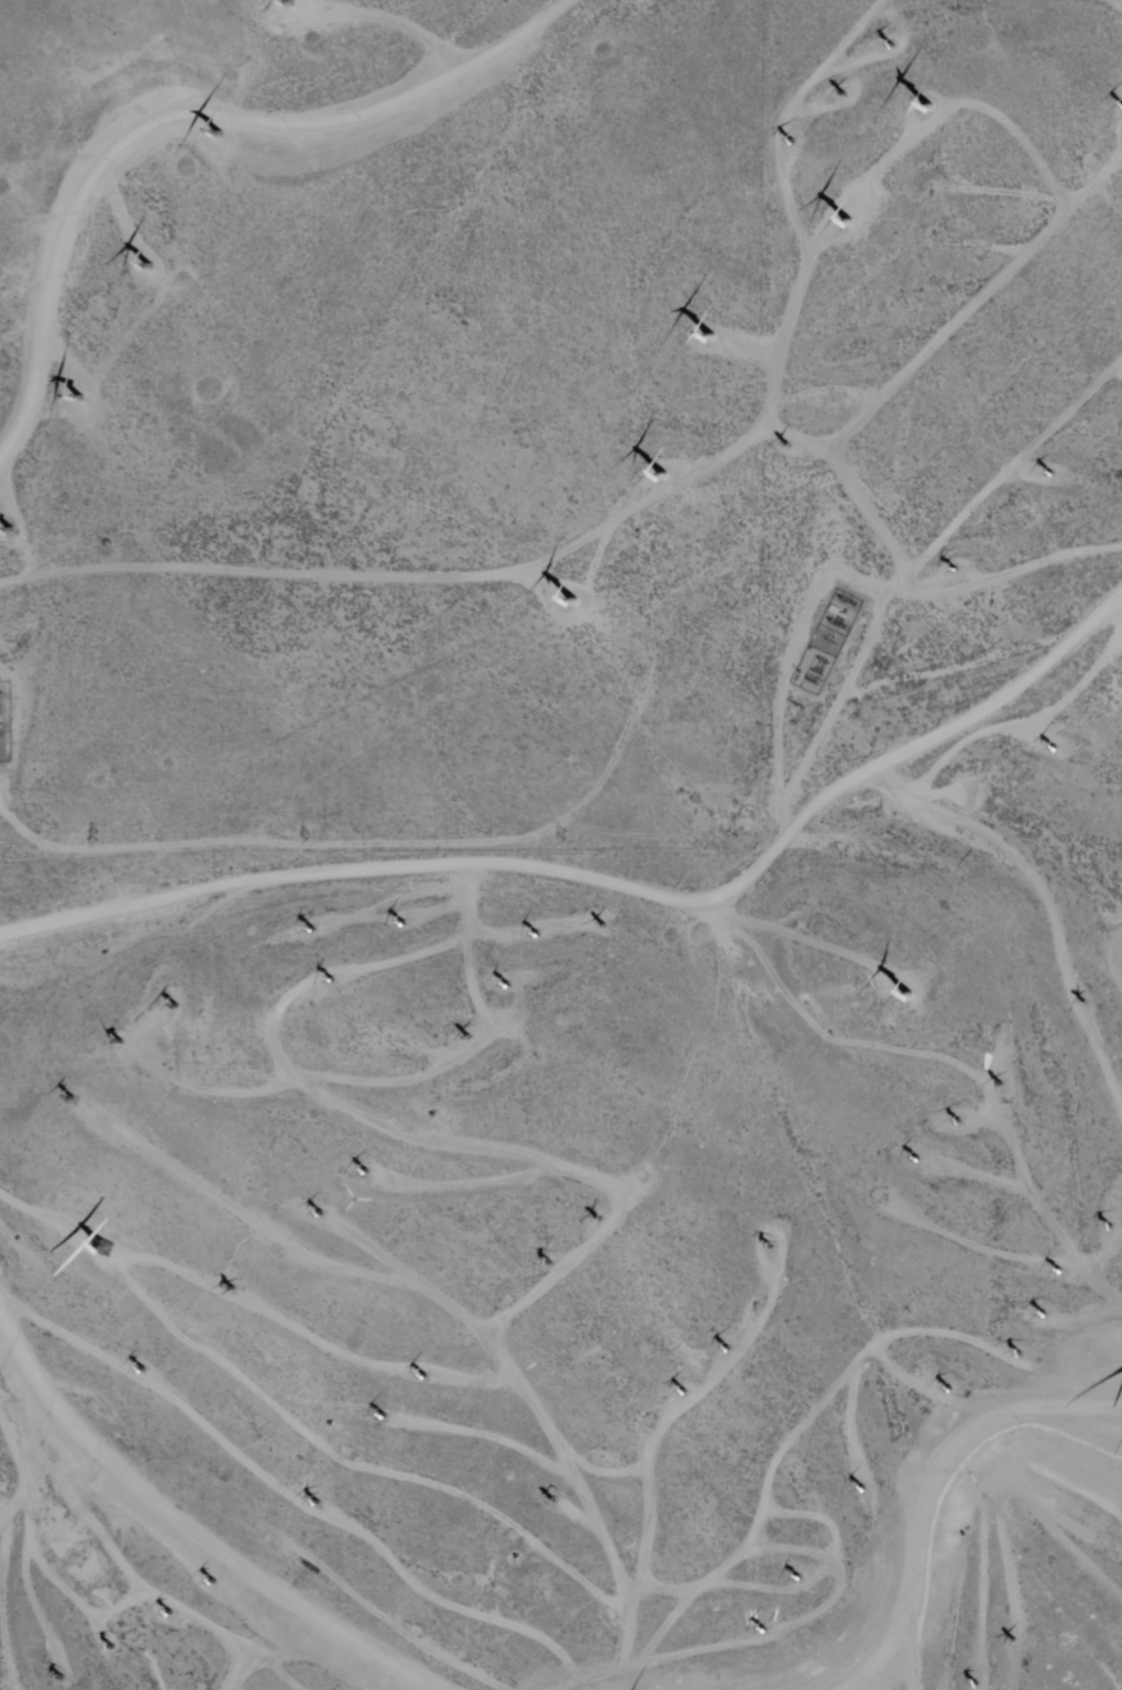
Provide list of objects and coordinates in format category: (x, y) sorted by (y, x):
wind turbine: (287, 2)
road: (400, 23)
wind turbine: (893, 43)
wind turbine: (846, 91)
wind turbine: (937, 108)
road: (186, 111)
wind turbine: (209, 136)
wind turbine: (794, 139)
wind turbine: (846, 218)
wind turbine: (144, 265)
wind turbine: (703, 344)
wind turbine: (80, 398)
wind turbine: (783, 447)
wind turbine: (1049, 472)
wind turbine: (663, 474)
wind turbine: (11, 525)
wind turbine: (950, 569)
wind turbine: (574, 601)
power substation: (843, 613)
power substation: (814, 671)
wind turbine: (890, 688)
power substation: (5, 723)
wind turbine: (1053, 748)
wind turbine: (409, 924)
wind turbine: (606, 925)
wind turbine: (307, 930)
wind turbine: (537, 936)
wind turbine: (330, 983)
wind turbine: (510, 987)
wind turbine: (910, 996)
wind turbine: (1083, 1002)
wind turbine: (173, 1006)
wind turbine: (470, 1034)
wind turbine: (108, 1043)
wind turbine: (1000, 1084)
wind turbine: (69, 1091)
wind turbine: (958, 1121)
wind turbine: (920, 1166)
wind turbine: (365, 1174)
wind turbine: (321, 1214)
wind turbine: (596, 1226)
wind turbine: (1111, 1226)
wind turbine: (773, 1250)
wind turbine: (101, 1253)
wind turbine: (551, 1269)
wind turbine: (1059, 1272)
wind turbine: (232, 1286)
wind turbine: (1046, 1316)
wind turbine: (728, 1350)
wind turbine: (1020, 1353)
wind turbine: (145, 1373)
wind turbine: (421, 1380)
wind turbine: (949, 1387)
wind turbine: (687, 1391)
wind turbine: (385, 1417)
wind turbine: (862, 1489)
wind turbine: (551, 1502)
wind turbine: (318, 1505)
wind turbine: (798, 1578)
wind turbine: (217, 1580)
wind turbine: (170, 1614)
wind turbine: (762, 1633)
wind turbine: (1015, 1639)
wind turbine: (114, 1646)
wind turbine: (376, 1669)
wind turbine: (59, 1678)
wind turbine: (974, 1684)

